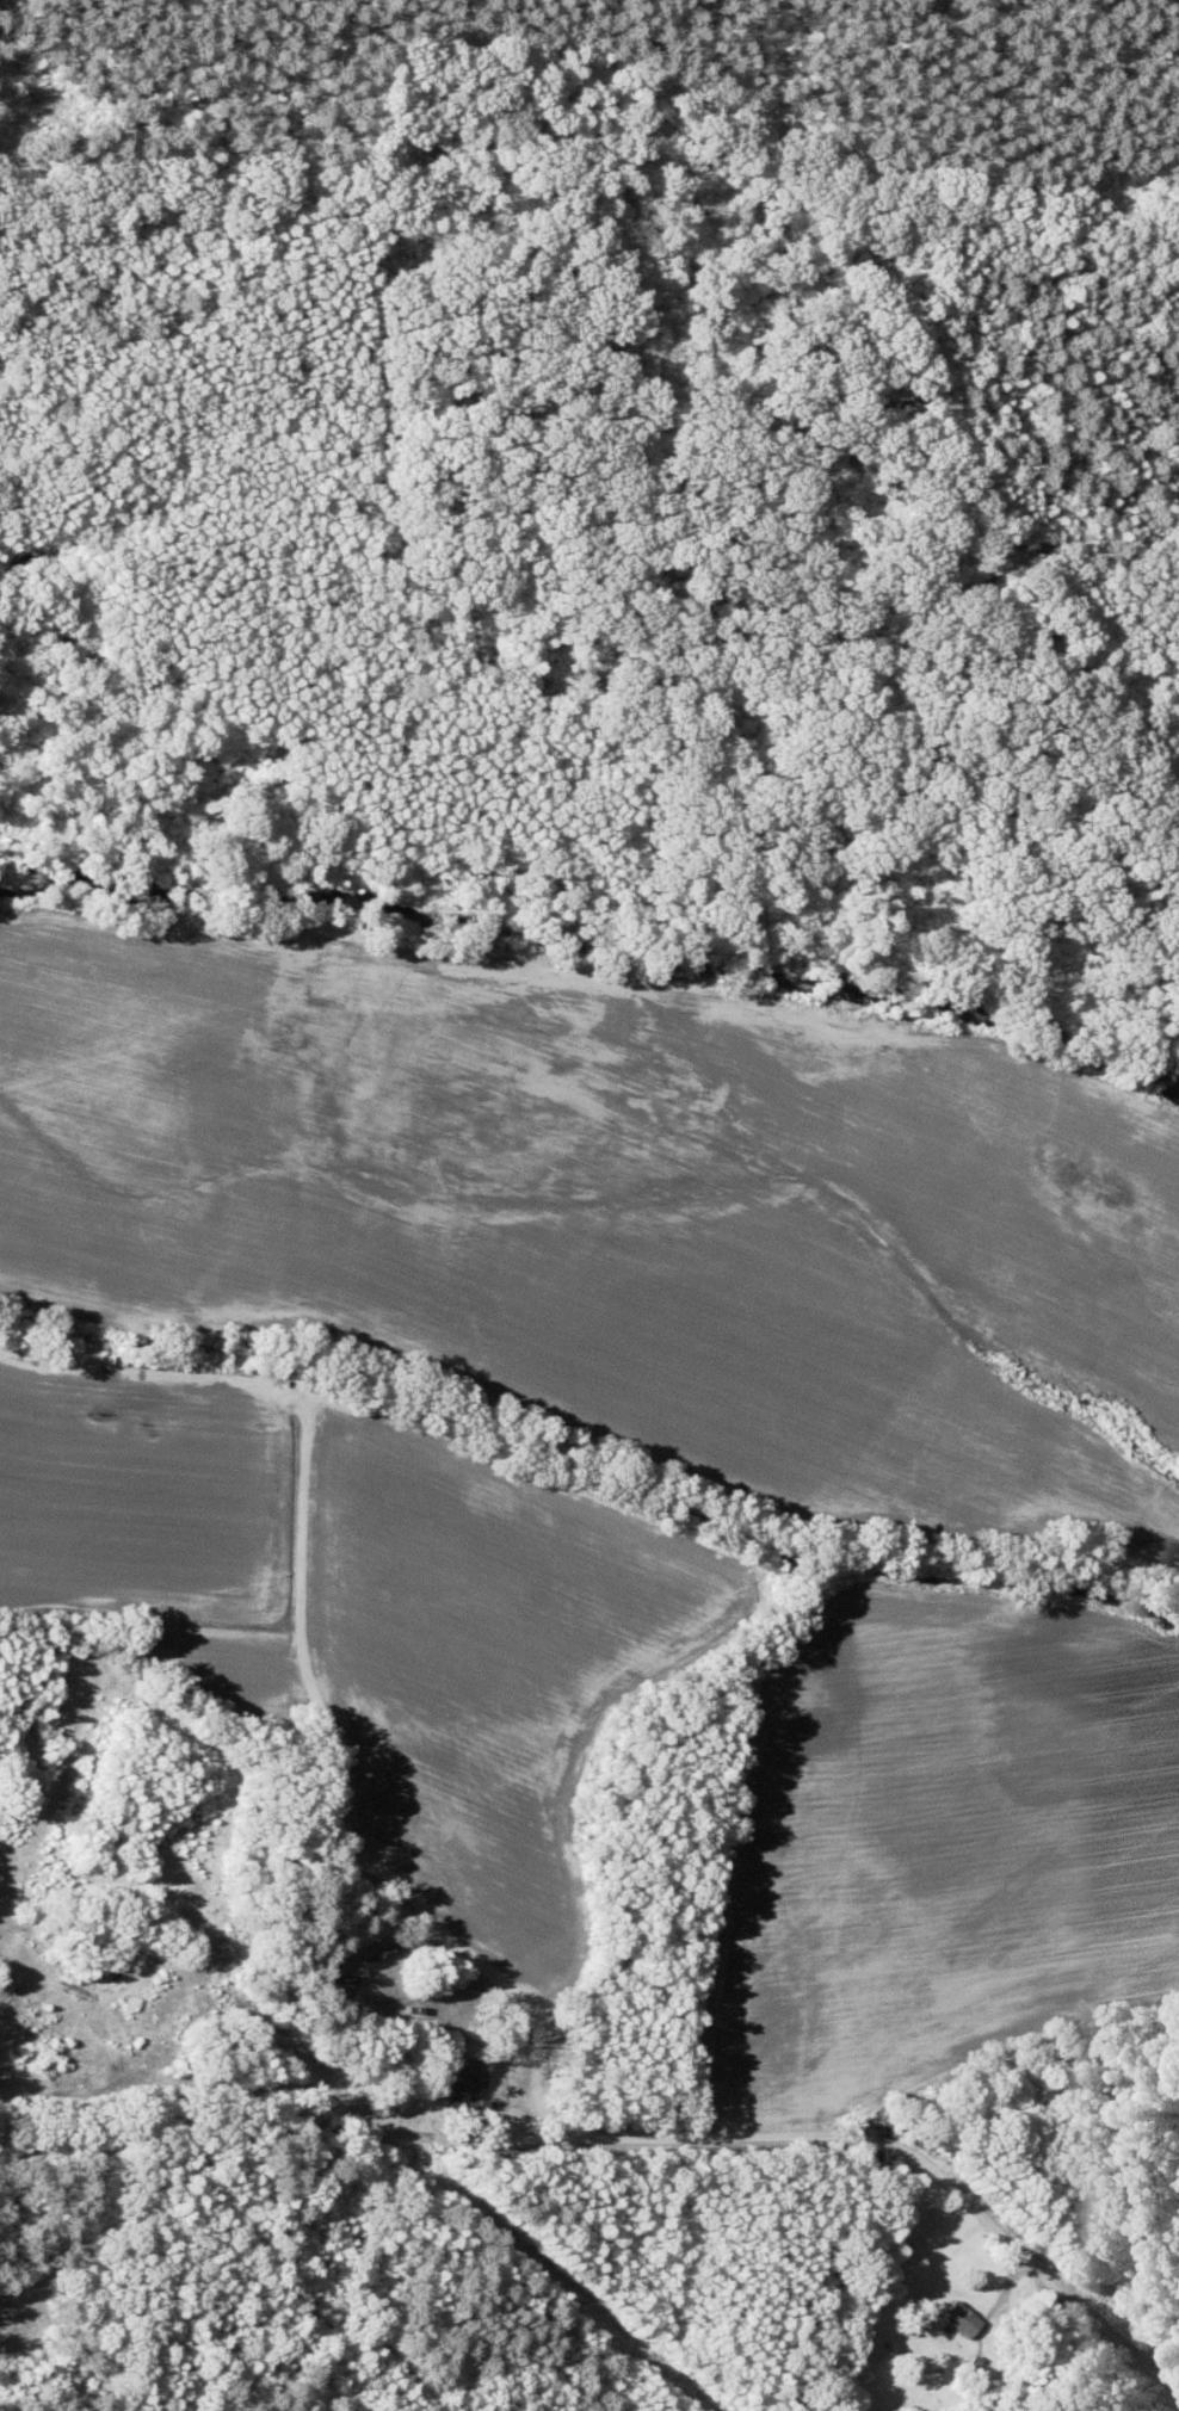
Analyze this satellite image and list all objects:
building: (465, 2075)
road: (669, 2146)
road: (1008, 2283)
building: (964, 2319)

